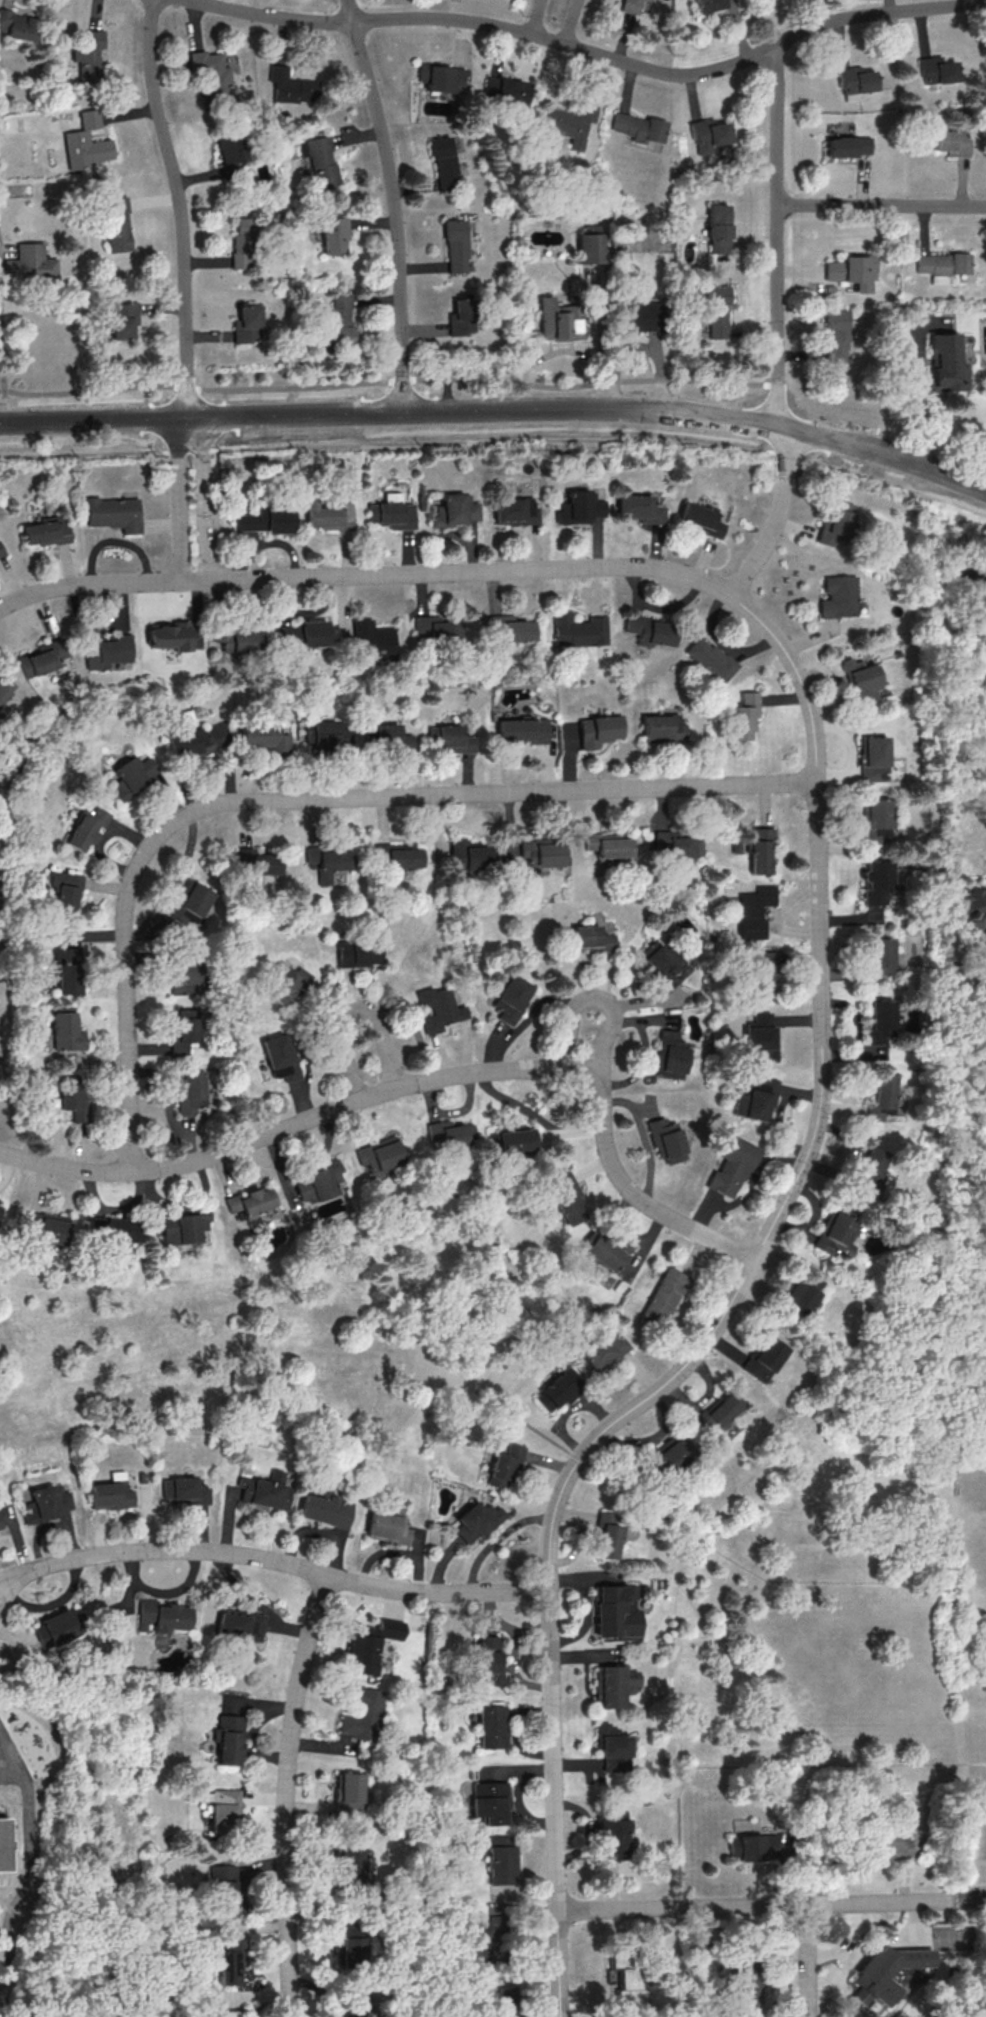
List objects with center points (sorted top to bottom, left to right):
building: (629, 5)
building: (707, 5)
road: (533, 17)
road: (570, 23)
building: (16, 25)
road: (592, 54)
building: (88, 56)
building: (936, 70)
building: (211, 76)
building: (440, 77)
building: (854, 81)
building: (290, 86)
building: (504, 90)
building: (568, 123)
building: (637, 127)
building: (708, 134)
building: (86, 142)
building: (951, 142)
building: (848, 146)
building: (229, 151)
building: (319, 160)
building: (442, 163)
road: (393, 203)
road: (882, 205)
road: (180, 206)
building: (116, 224)
building: (717, 228)
building: (333, 235)
road: (778, 235)
building: (242, 243)
building: (454, 245)
building: (588, 248)
building: (29, 263)
building: (941, 265)
building: (851, 271)
building: (717, 312)
building: (458, 317)
building: (340, 318)
building: (552, 318)
building: (121, 319)
building: (246, 324)
building: (836, 335)
road: (5, 350)
building: (945, 363)
road: (388, 379)
road: (921, 398)
road: (389, 411)
road: (603, 439)
road: (883, 452)
road: (106, 454)
road: (203, 497)
road: (178, 498)
building: (579, 507)
building: (640, 508)
building: (454, 510)
building: (516, 510)
building: (392, 512)
building: (114, 513)
building: (327, 514)
road: (777, 514)
building: (699, 518)
building: (266, 520)
building: (834, 522)
building: (46, 530)
building: (1, 550)
road: (88, 583)
building: (837, 596)
building: (437, 628)
building: (509, 629)
building: (577, 629)
building: (649, 629)
building: (312, 632)
building: (286, 636)
building: (169, 637)
building: (237, 639)
building: (372, 640)
building: (105, 649)
building: (42, 657)
building: (709, 658)
building: (861, 680)
building: (5, 686)
building: (743, 715)
building: (661, 727)
building: (521, 730)
building: (597, 730)
building: (326, 734)
building: (263, 737)
building: (389, 738)
building: (449, 738)
building: (873, 758)
building: (126, 778)
road: (309, 797)
building: (876, 822)
building: (86, 828)
building: (676, 843)
building: (607, 845)
building: (759, 850)
building: (541, 851)
building: (470, 855)
building: (327, 860)
building: (255, 861)
building: (876, 886)
building: (65, 892)
building: (189, 902)
building: (970, 906)
building: (752, 910)
building: (588, 938)
building: (358, 953)
building: (879, 957)
building: (659, 964)
building: (66, 967)
building: (761, 981)
building: (286, 983)
building: (511, 999)
road: (600, 1000)
building: (437, 1008)
road: (349, 1010)
building: (881, 1014)
building: (65, 1028)
building: (184, 1030)
building: (760, 1034)
building: (670, 1055)
building: (279, 1056)
road: (821, 1059)
road: (420, 1081)
building: (190, 1091)
building: (881, 1096)
building: (755, 1099)
building: (71, 1101)
building: (449, 1133)
building: (666, 1140)
building: (512, 1141)
building: (379, 1153)
building: (731, 1167)
building: (869, 1172)
building: (318, 1182)
building: (568, 1199)
building: (250, 1201)
building: (183, 1226)
building: (47, 1227)
building: (113, 1228)
building: (835, 1234)
building: (606, 1251)
building: (800, 1294)
building: (662, 1298)
building: (604, 1349)
building: (763, 1358)
building: (558, 1389)
building: (719, 1410)
building: (668, 1453)
building: (504, 1467)
building: (185, 1490)
building: (267, 1490)
building: (111, 1492)
building: (45, 1503)
building: (325, 1507)
park: (976, 1512)
building: (475, 1521)
building: (388, 1524)
building: (0, 1529)
building: (608, 1535)
road: (711, 1548)
road: (271, 1560)
park: (965, 1591)
building: (617, 1611)
building: (162, 1615)
building: (240, 1624)
building: (57, 1627)
building: (369, 1645)
building: (486, 1660)
building: (614, 1685)
building: (361, 1713)
building: (492, 1726)
building: (230, 1739)
building: (613, 1748)
road: (767, 1767)
road: (285, 1794)
building: (347, 1794)
building: (490, 1801)
building: (225, 1810)
building: (612, 1833)
building: (890, 1843)
building: (4, 1846)
building: (752, 1847)
road: (30, 1858)
building: (501, 1860)
building: (350, 1862)
road: (19, 1875)
road: (964, 1887)
building: (223, 1889)
road: (969, 1897)
road: (755, 1905)
building: (482, 1941)
building: (351, 1950)
road: (807, 1961)
building: (229, 1966)
building: (627, 1978)
building: (746, 1982)
road: (978, 1993)
building: (501, 2002)
building: (351, 2003)
building: (233, 2013)

